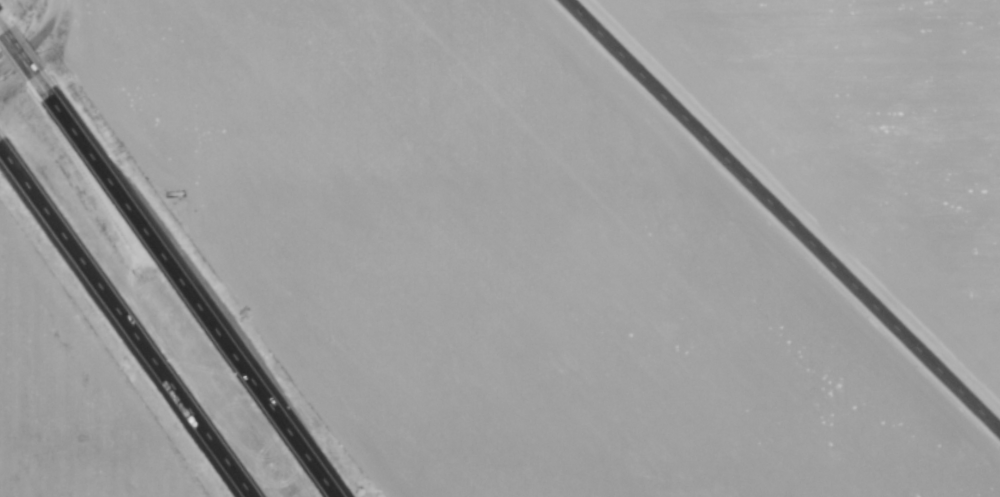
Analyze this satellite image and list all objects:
road: (22, 70)
road: (785, 213)
road: (188, 298)
road: (123, 325)

